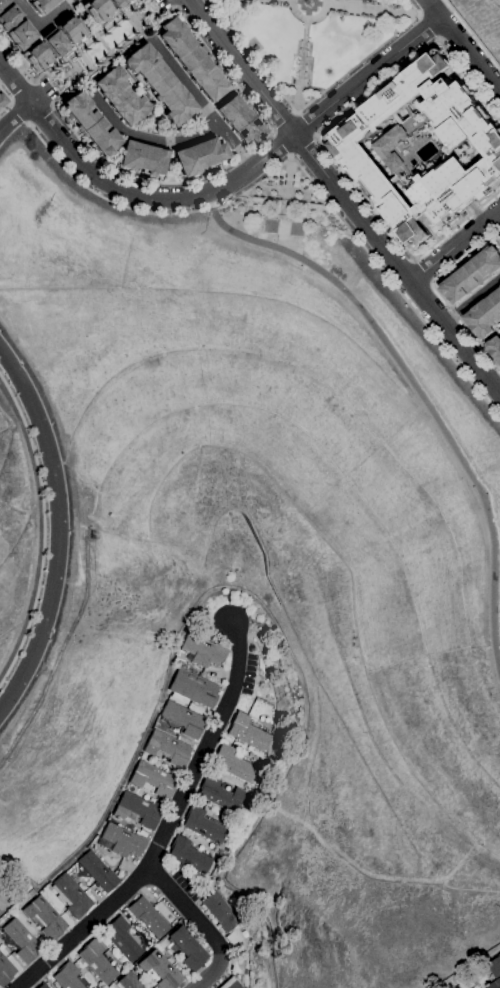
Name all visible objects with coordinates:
building: (27, 0)
building: (3, 2)
building: (116, 3)
road: (170, 4)
road: (178, 4)
building: (41, 5)
road: (425, 6)
building: (96, 9)
road: (372, 9)
road: (146, 11)
road: (152, 12)
building: (8, 17)
road: (308, 19)
road: (143, 22)
road: (42, 23)
road: (427, 26)
road: (89, 27)
road: (105, 28)
building: (70, 29)
road: (140, 29)
road: (304, 29)
road: (449, 29)
road: (473, 34)
building: (20, 35)
park: (310, 38)
building: (53, 43)
road: (126, 43)
road: (464, 44)
road: (79, 51)
road: (75, 52)
building: (36, 57)
road: (60, 58)
road: (65, 58)
building: (192, 60)
road: (103, 62)
road: (88, 67)
road: (92, 68)
road: (23, 71)
road: (367, 75)
road: (83, 76)
road: (61, 78)
road: (182, 79)
building: (159, 84)
road: (20, 91)
road: (42, 94)
road: (296, 95)
building: (121, 97)
road: (144, 97)
building: (2, 100)
road: (9, 100)
road: (307, 102)
road: (23, 108)
road: (21, 113)
road: (42, 117)
building: (239, 120)
road: (283, 123)
building: (89, 124)
road: (306, 125)
road: (173, 140)
road: (318, 140)
road: (281, 145)
road: (303, 146)
building: (393, 146)
building: (349, 148)
building: (199, 156)
building: (142, 158)
road: (300, 167)
road: (223, 168)
road: (287, 178)
road: (288, 191)
road: (127, 192)
road: (343, 198)
park: (284, 214)
road: (282, 234)
road: (496, 239)
road: (454, 243)
road: (398, 265)
road: (423, 269)
building: (473, 275)
road: (439, 292)
road: (420, 294)
road: (471, 301)
building: (485, 315)
road: (490, 337)
building: (495, 347)
road: (496, 383)
road: (418, 392)
road: (44, 530)
road: (57, 530)
building: (202, 651)
building: (193, 688)
building: (183, 719)
building: (249, 733)
building: (167, 749)
building: (232, 764)
building: (153, 779)
building: (220, 795)
building: (137, 810)
building: (203, 825)
road: (173, 826)
building: (121, 841)
building: (187, 855)
building: (98, 872)
building: (71, 896)
building: (220, 912)
building: (148, 917)
building: (45, 918)
road: (200, 927)
building: (235, 938)
building: (122, 939)
building: (22, 941)
building: (187, 949)
building: (98, 962)
building: (238, 967)
building: (160, 970)
building: (6, 971)
building: (495, 973)
building: (66, 976)
building: (130, 981)
building: (230, 984)
building: (42, 986)

